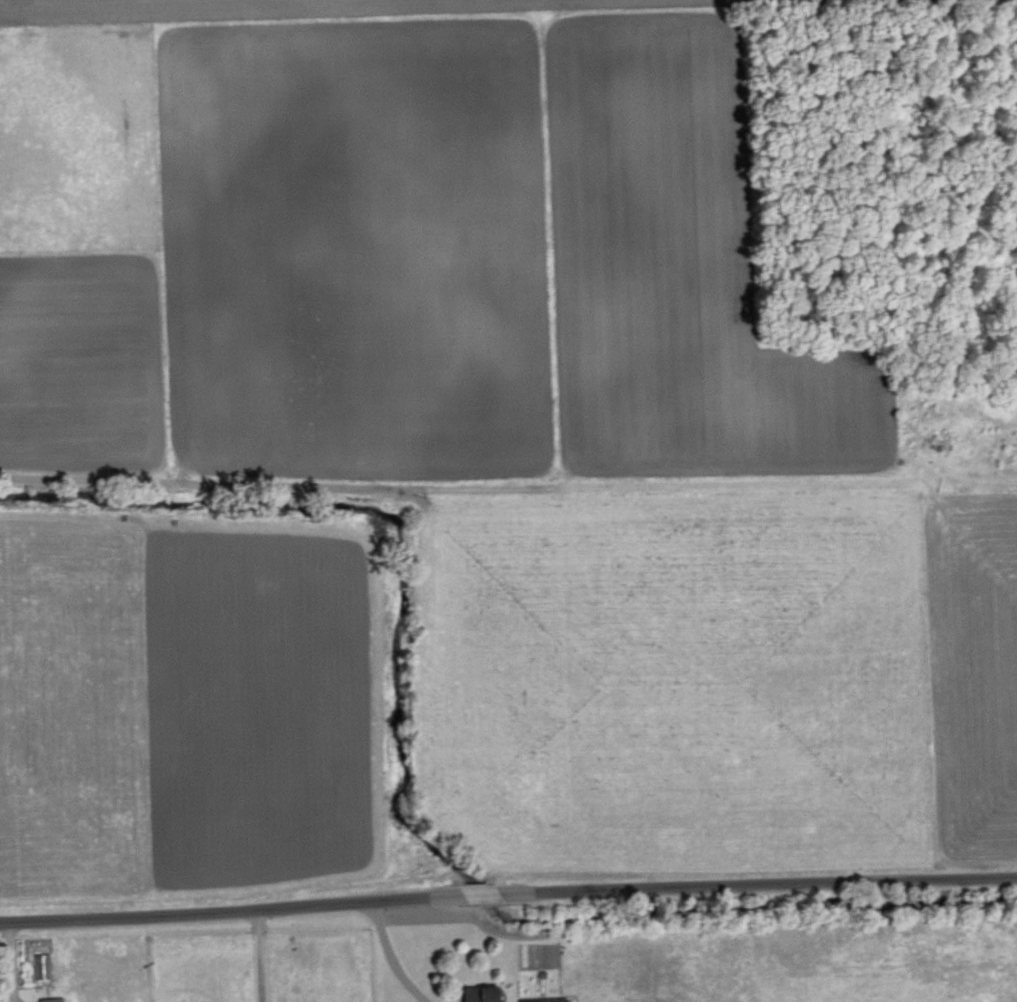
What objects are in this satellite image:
road: (508, 895)
road: (256, 957)
building: (41, 965)
building: (479, 993)
building: (51, 999)
building: (543, 1000)

